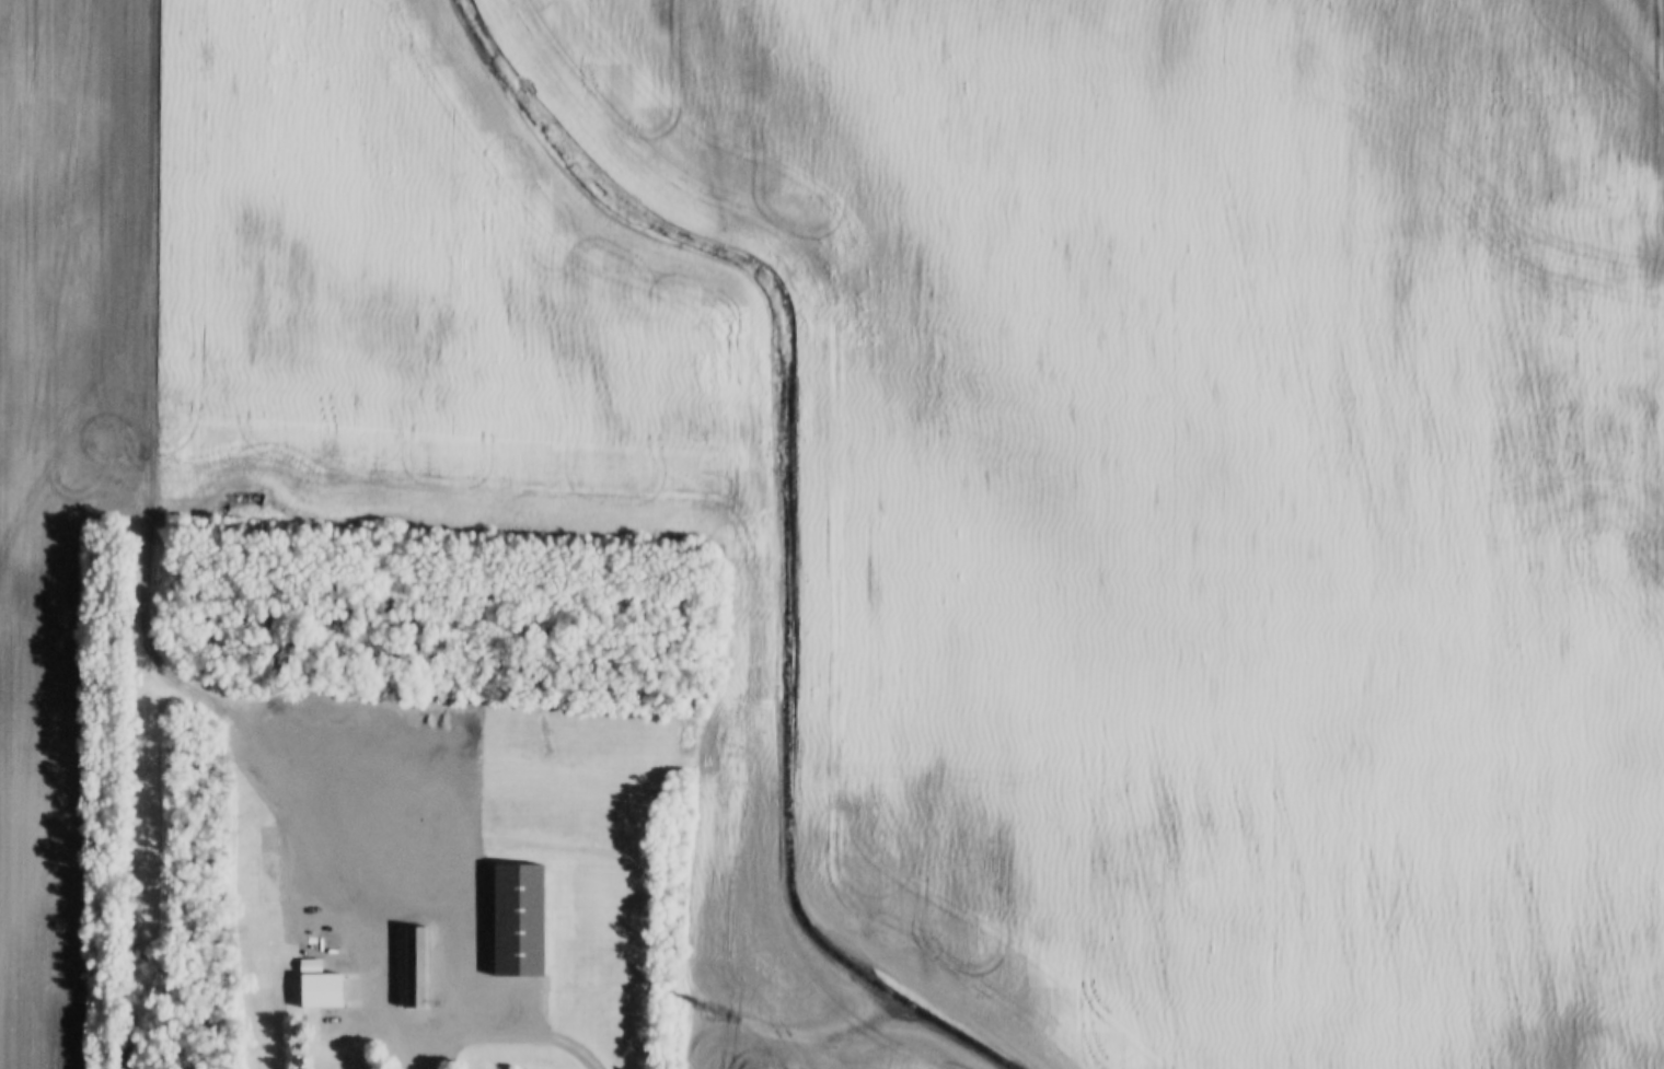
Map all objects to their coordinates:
road: (361, 770)
building: (267, 833)
silo: (267, 833)
building: (369, 844)
silo: (369, 844)
building: (391, 844)
silo: (391, 844)
building: (268, 846)
silo: (268, 846)
building: (432, 849)
silo: (432, 849)
building: (268, 861)
silo: (268, 861)
building: (360, 863)
silo: (360, 863)
building: (268, 878)
silo: (268, 878)
building: (356, 883)
silo: (356, 883)
building: (268, 894)
silo: (268, 894)
building: (516, 919)
building: (308, 965)
building: (415, 968)
building: (319, 991)
road: (504, 1029)

